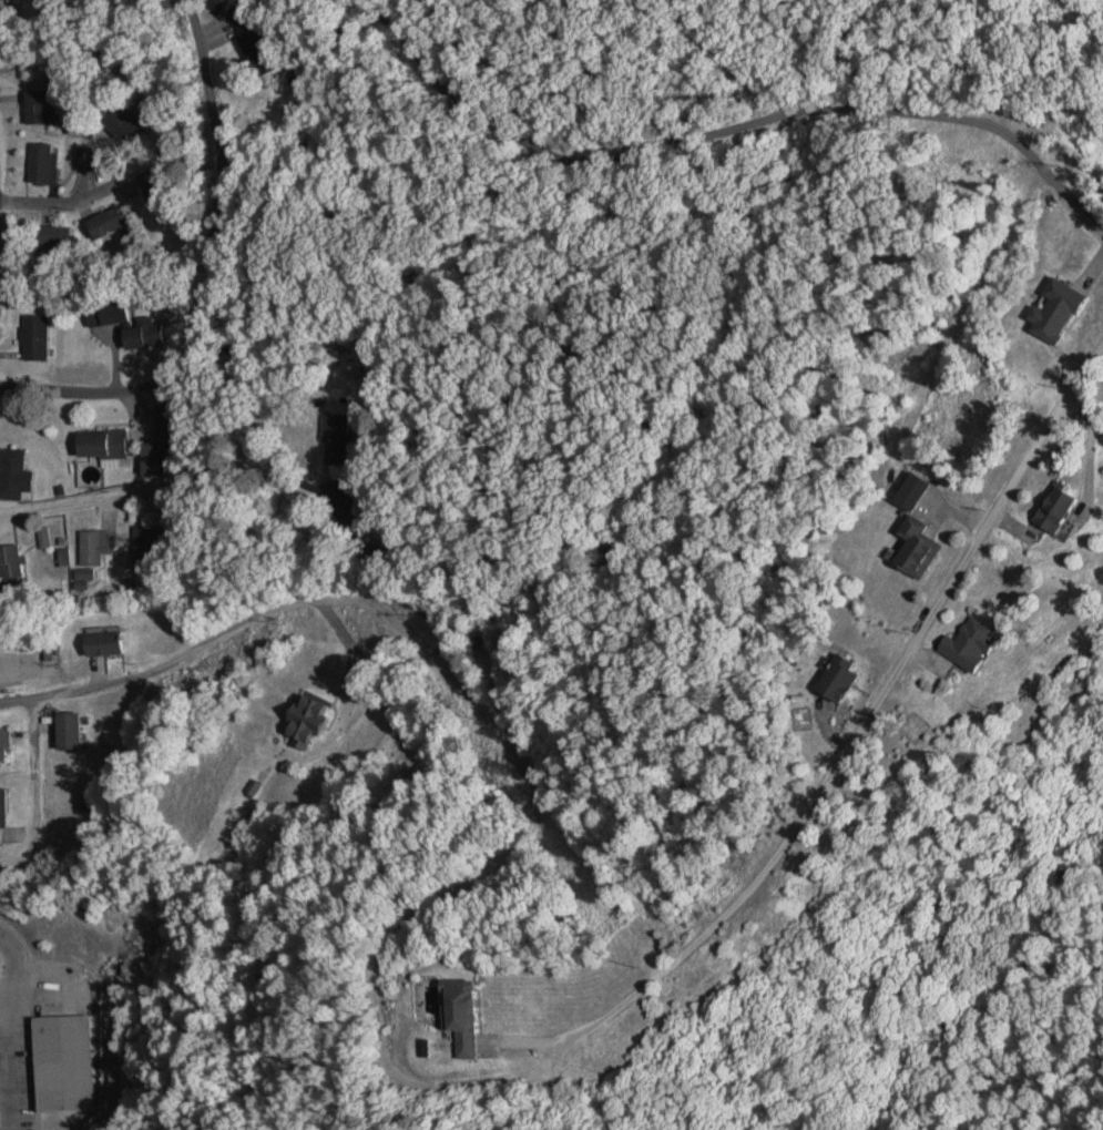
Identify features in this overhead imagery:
building: (261, 40)
road: (449, 93)
building: (34, 106)
road: (854, 106)
building: (119, 122)
building: (43, 163)
road: (67, 196)
road: (225, 208)
building: (106, 223)
building: (49, 236)
building: (1054, 311)
building: (131, 328)
building: (35, 338)
road: (73, 386)
building: (344, 436)
building: (100, 444)
building: (14, 475)
road: (282, 481)
building: (1051, 509)
building: (94, 548)
building: (915, 548)
building: (10, 562)
building: (83, 573)
building: (101, 645)
building: (967, 645)
road: (178, 660)
building: (836, 679)
building: (306, 721)
road: (861, 724)
building: (68, 732)
building: (3, 745)
building: (2, 815)
road: (404, 879)
road: (4, 977)
road: (41, 987)
building: (446, 1019)
building: (58, 1062)
road: (3, 1072)

